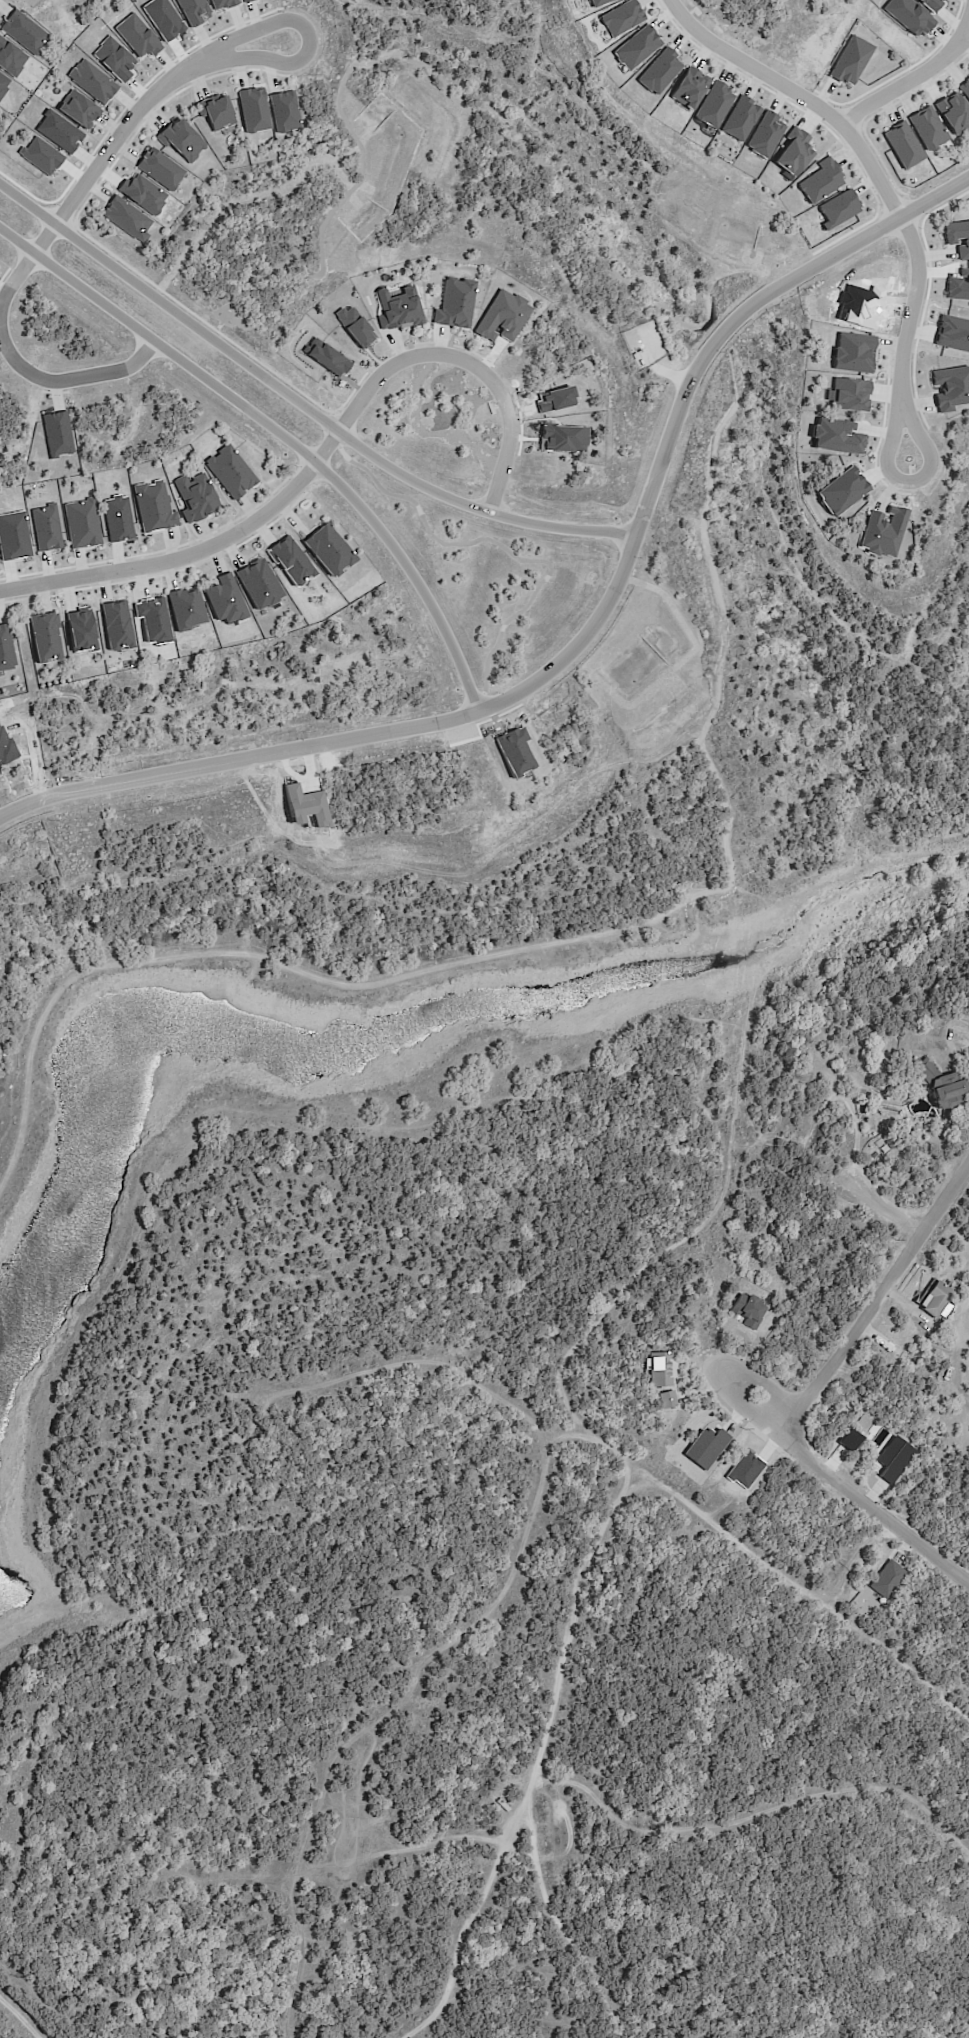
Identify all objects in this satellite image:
building: (244, 0)
building: (597, 2)
building: (193, 10)
building: (621, 18)
road: (967, 26)
road: (967, 31)
building: (24, 32)
building: (137, 36)
building: (636, 47)
road: (403, 59)
building: (850, 60)
building: (659, 71)
building: (92, 81)
road: (904, 81)
building: (688, 87)
building: (965, 88)
building: (713, 104)
building: (78, 109)
building: (253, 109)
building: (216, 111)
building: (284, 111)
building: (953, 112)
building: (740, 118)
building: (927, 128)
road: (122, 133)
building: (764, 134)
building: (181, 139)
building: (903, 144)
building: (793, 152)
road: (865, 153)
building: (160, 168)
building: (820, 180)
building: (142, 193)
building: (838, 208)
building: (127, 218)
building: (957, 237)
building: (959, 286)
building: (454, 303)
building: (398, 309)
building: (502, 316)
building: (953, 333)
road: (717, 339)
building: (852, 352)
road: (470, 359)
road: (135, 362)
building: (951, 387)
building: (849, 394)
road: (298, 402)
road: (280, 430)
building: (836, 436)
building: (230, 471)
road: (910, 483)
building: (195, 497)
building: (153, 506)
building: (82, 523)
building: (46, 527)
building: (882, 532)
building: (328, 550)
road: (190, 552)
building: (224, 599)
building: (186, 608)
building: (116, 625)
road: (587, 634)
building: (45, 637)
building: (5, 649)
building: (306, 811)
road: (569, 943)
building: (942, 1086)
building: (861, 1099)
building: (899, 1138)
road: (890, 1208)
road: (879, 1297)
building: (936, 1300)
building: (749, 1312)
building: (661, 1369)
road: (729, 1381)
building: (667, 1399)
road: (876, 1500)
building: (887, 1579)

